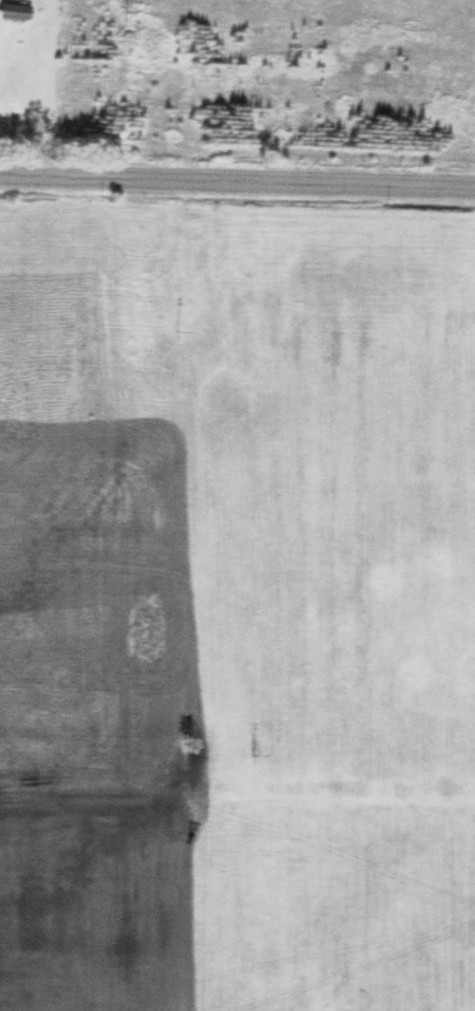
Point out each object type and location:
building: (12, 8)
road: (237, 179)

